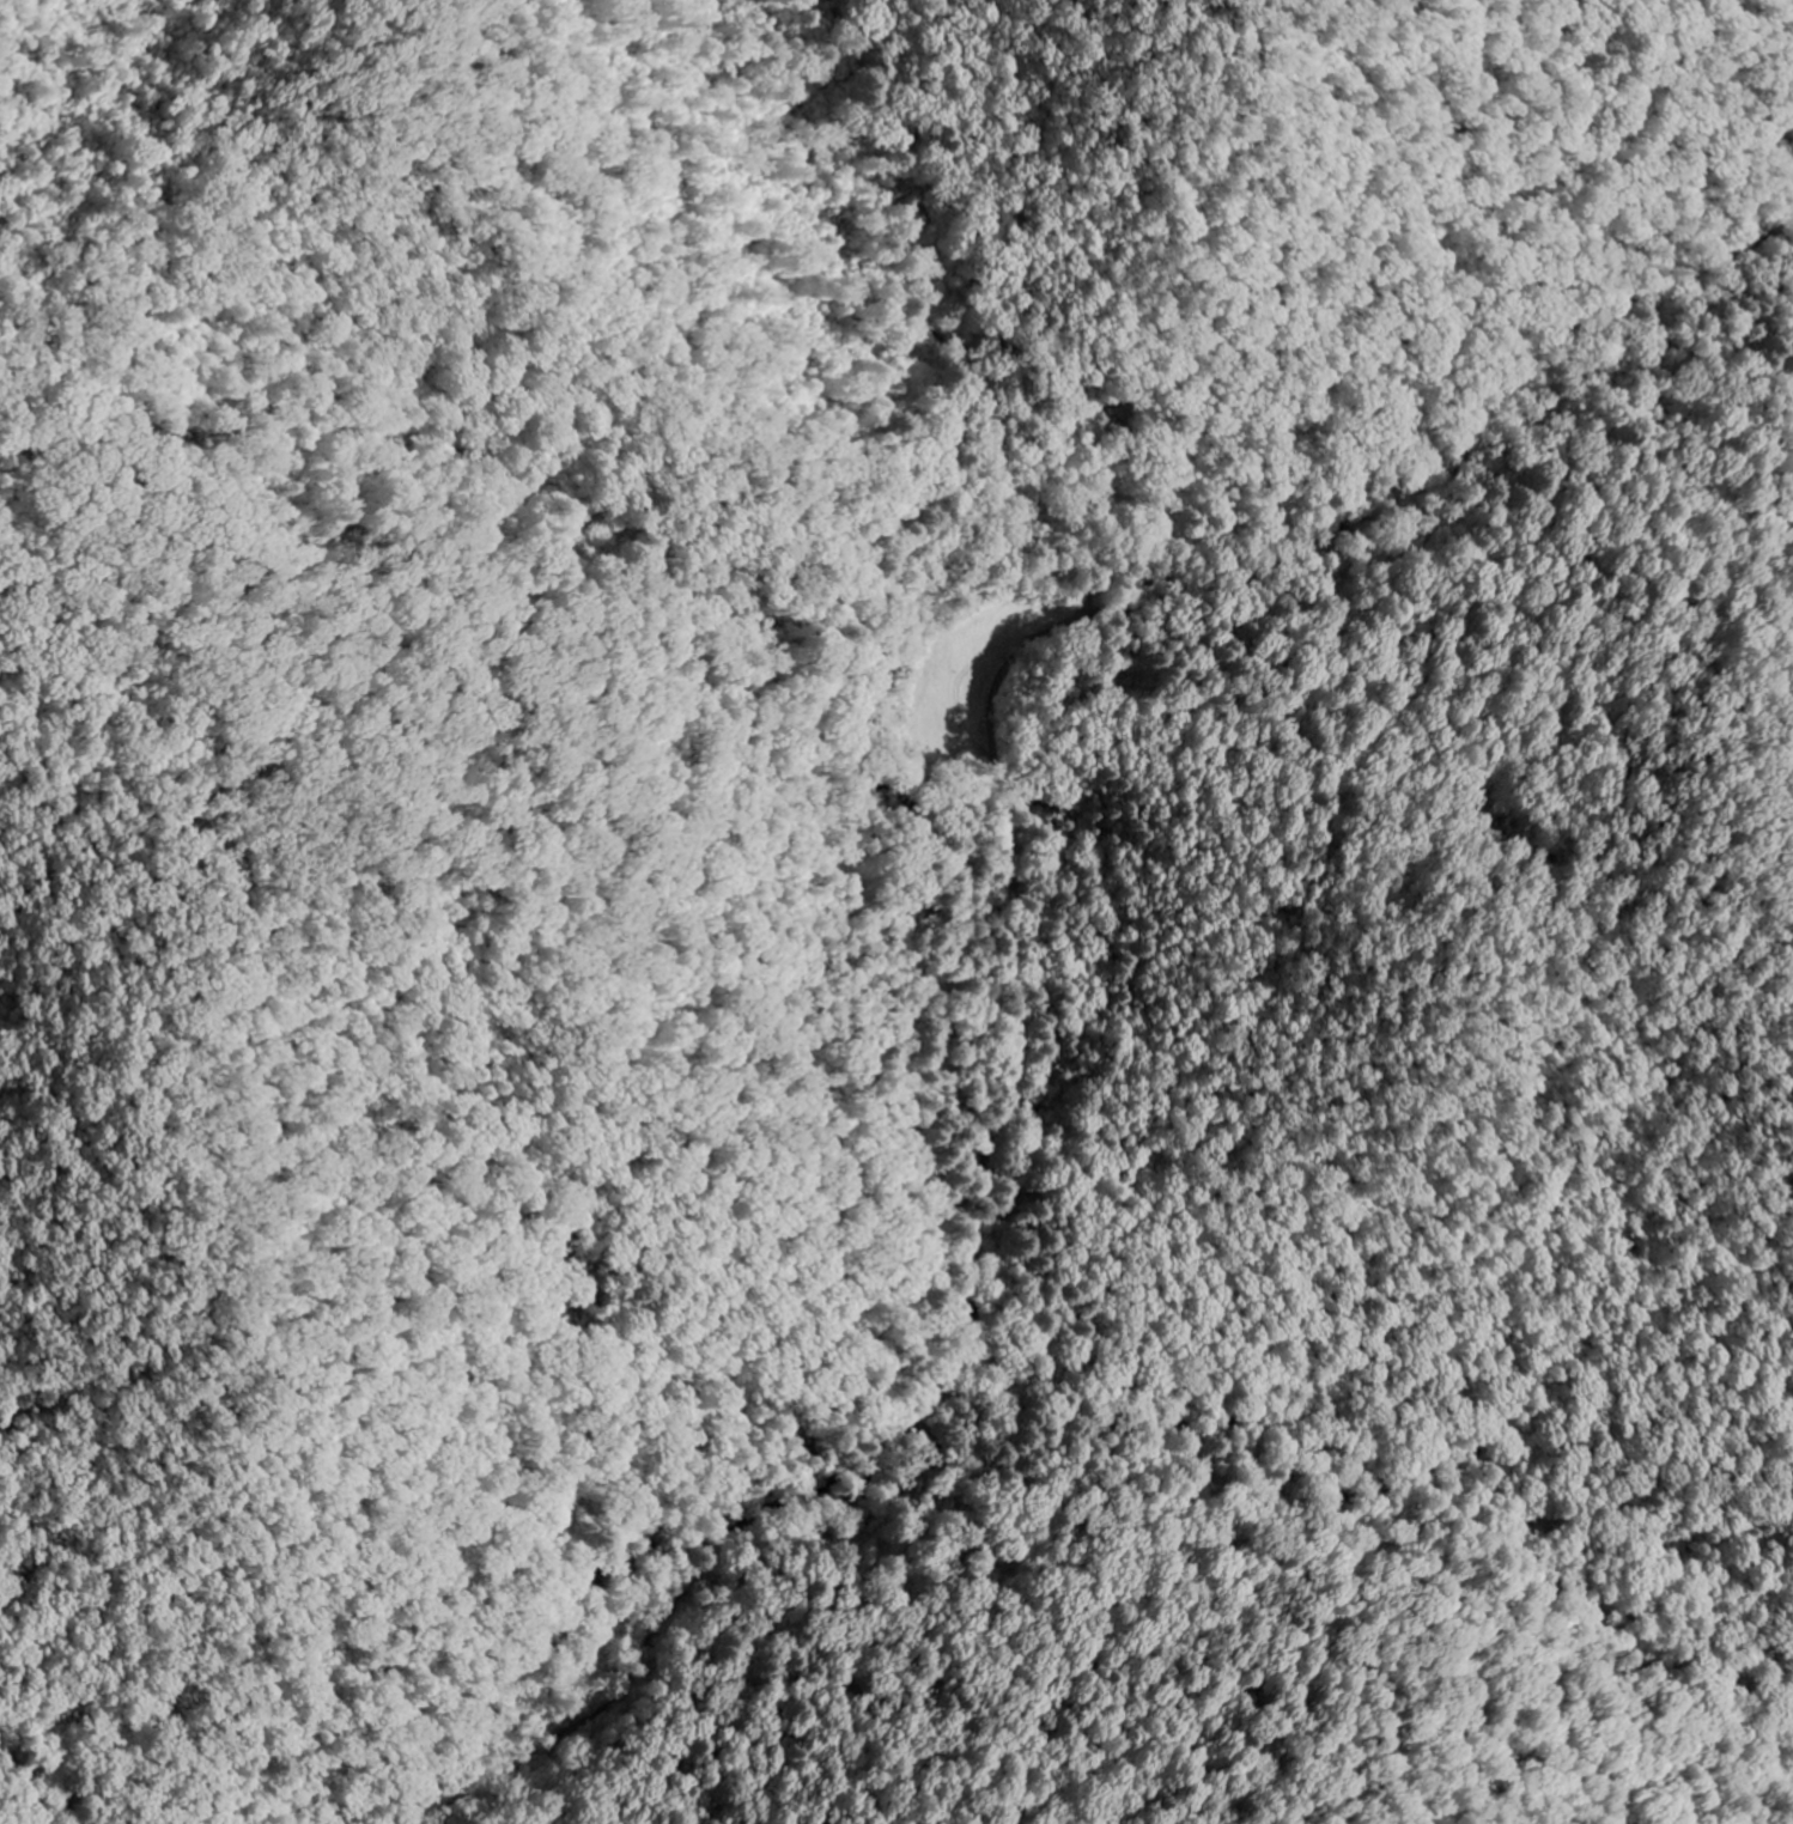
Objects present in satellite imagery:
road: (1777, 268)
road: (1339, 533)
road: (922, 1439)

